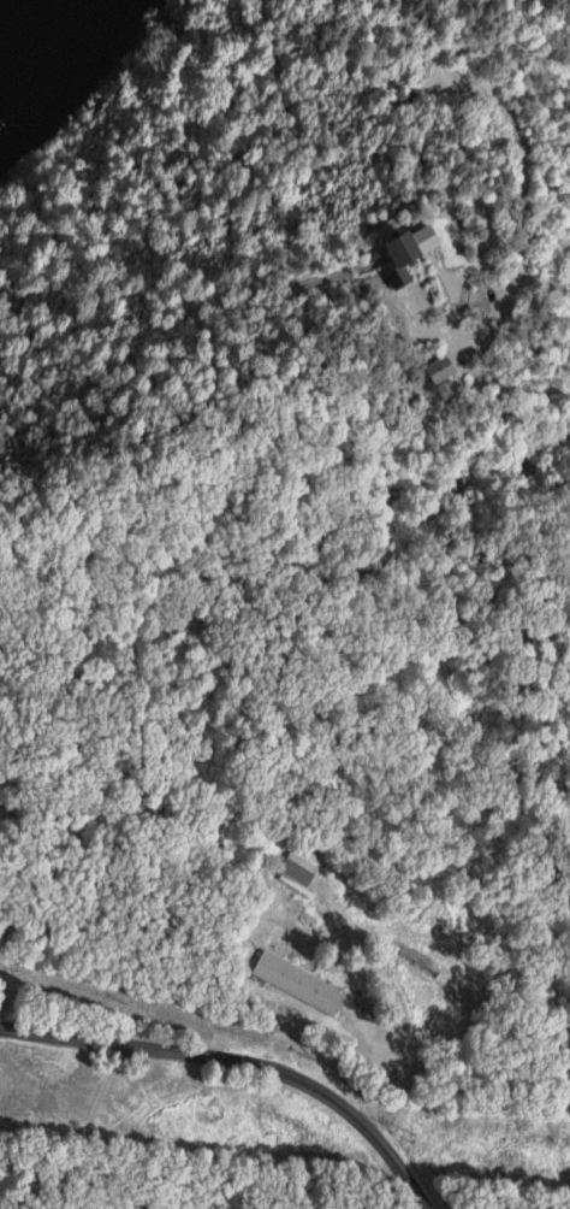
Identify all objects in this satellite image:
road: (526, 159)
building: (403, 259)
building: (439, 368)
building: (297, 871)
building: (298, 980)
road: (244, 1062)
road: (387, 1063)
road: (106, 1127)
power tower: (412, 1134)

